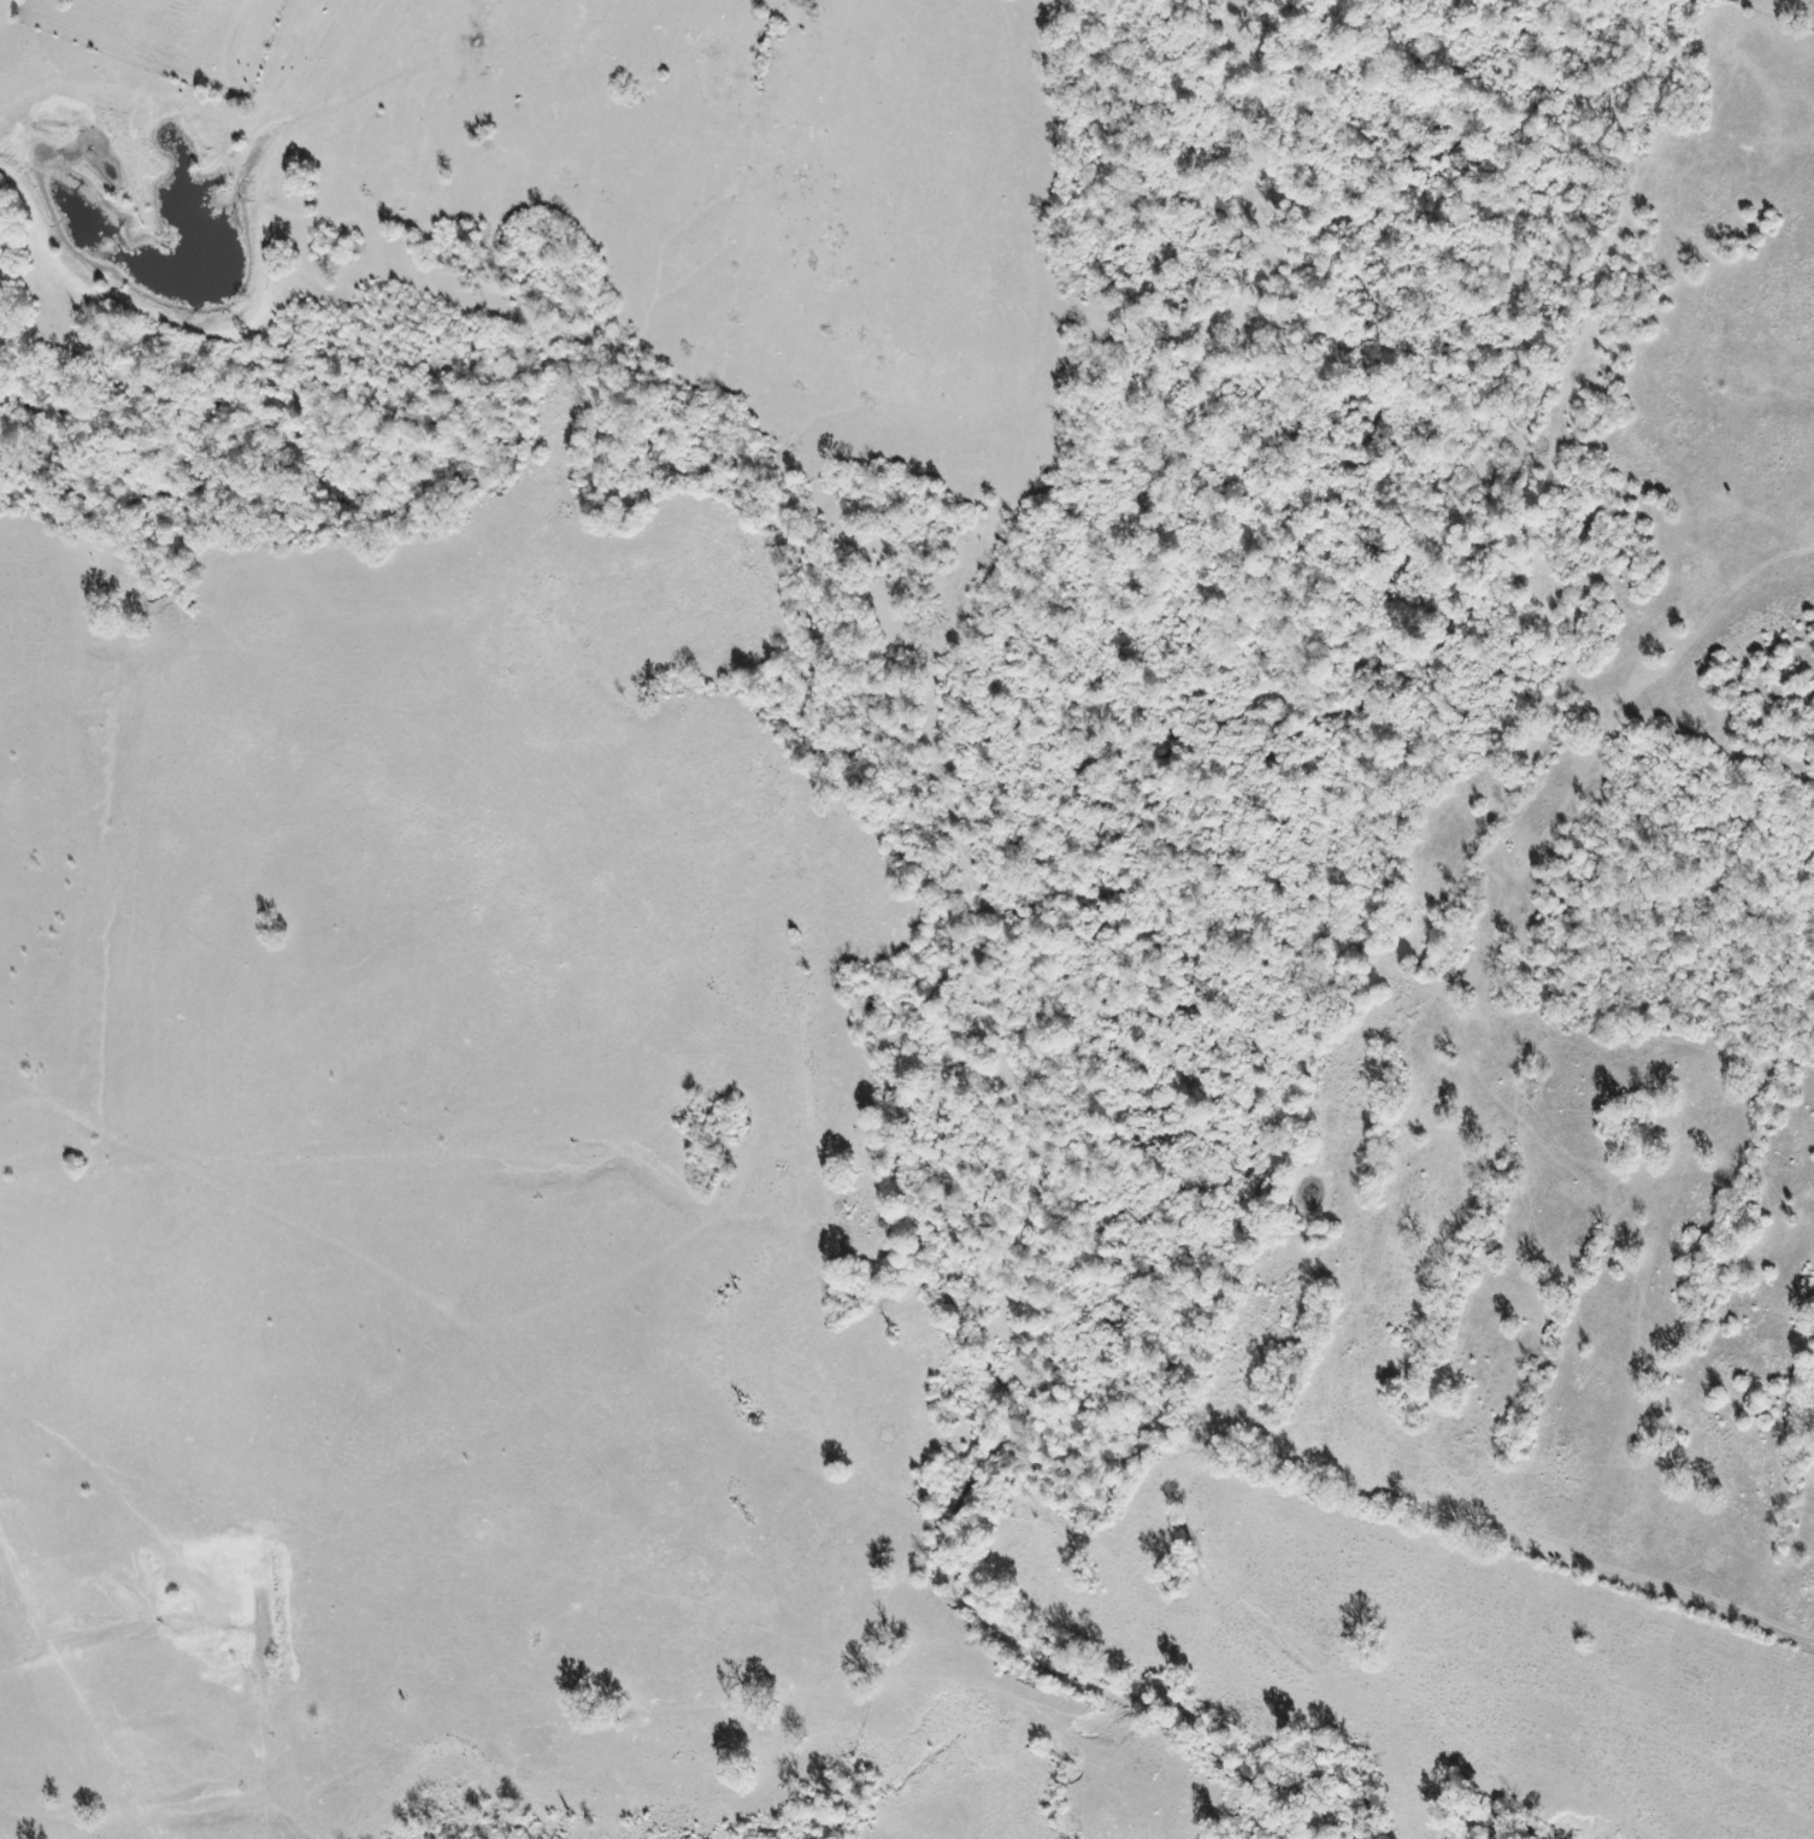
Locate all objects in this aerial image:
road: (569, 1432)

